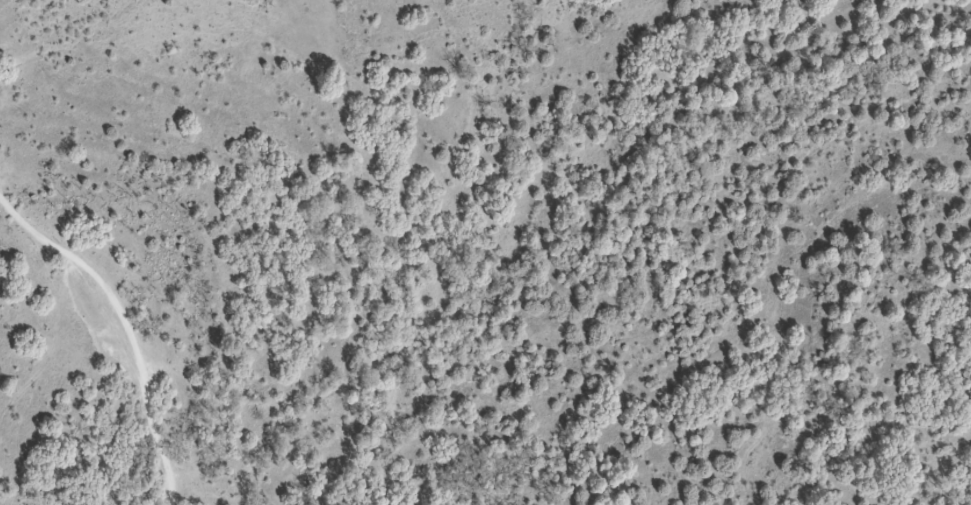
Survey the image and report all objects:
road: (127, 327)

